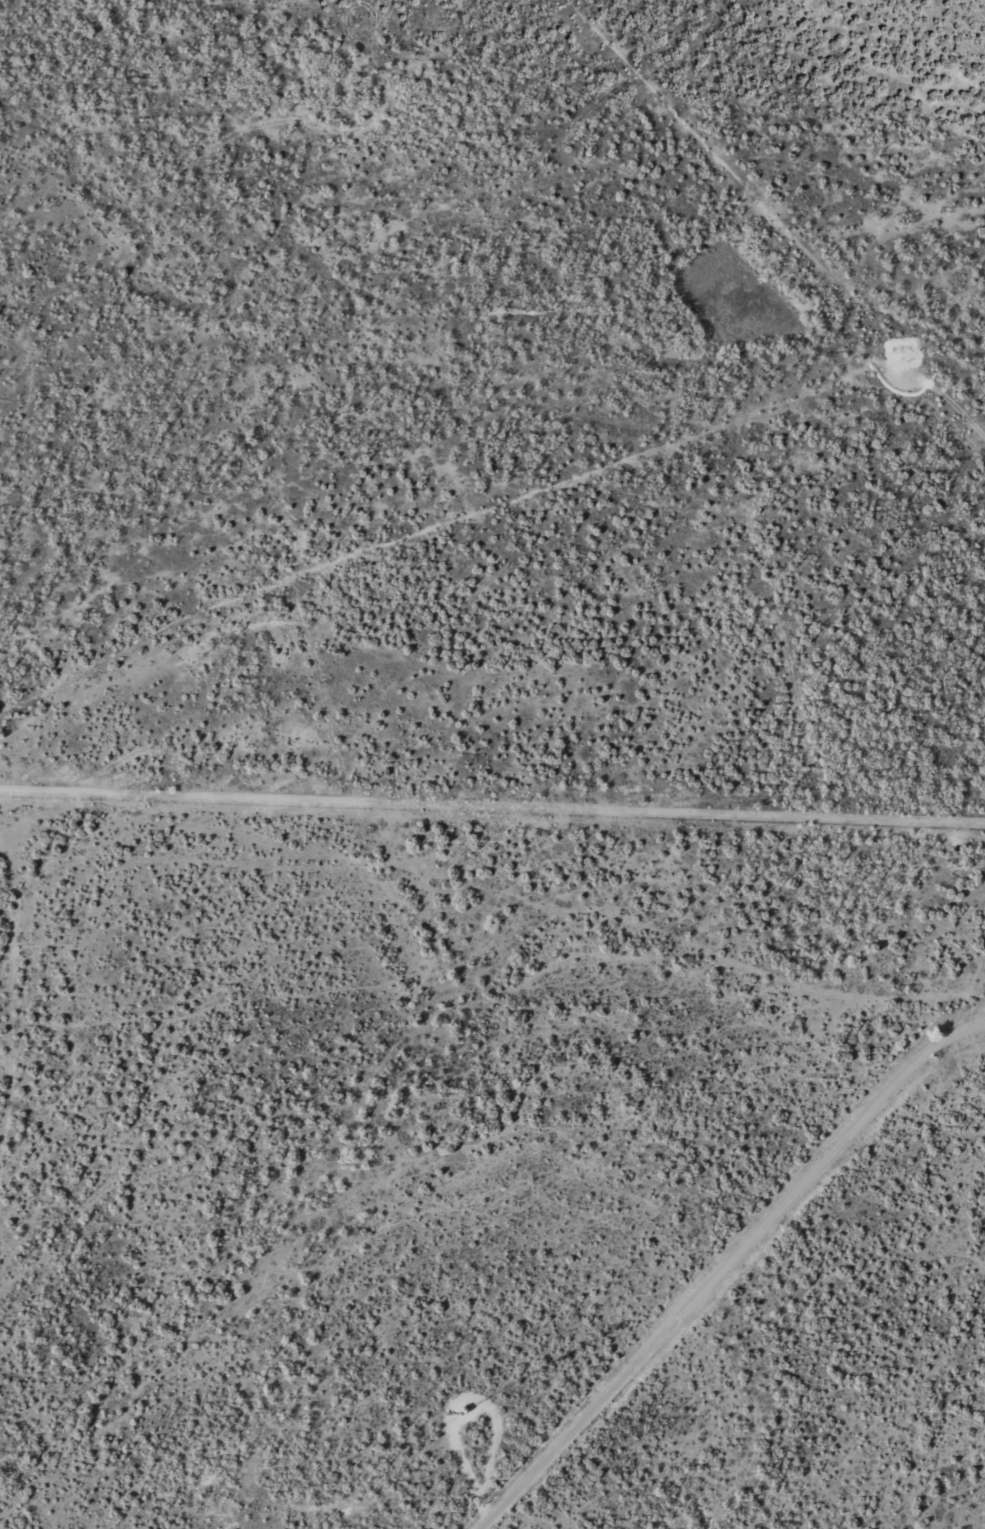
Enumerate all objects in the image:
road: (714, 1264)

